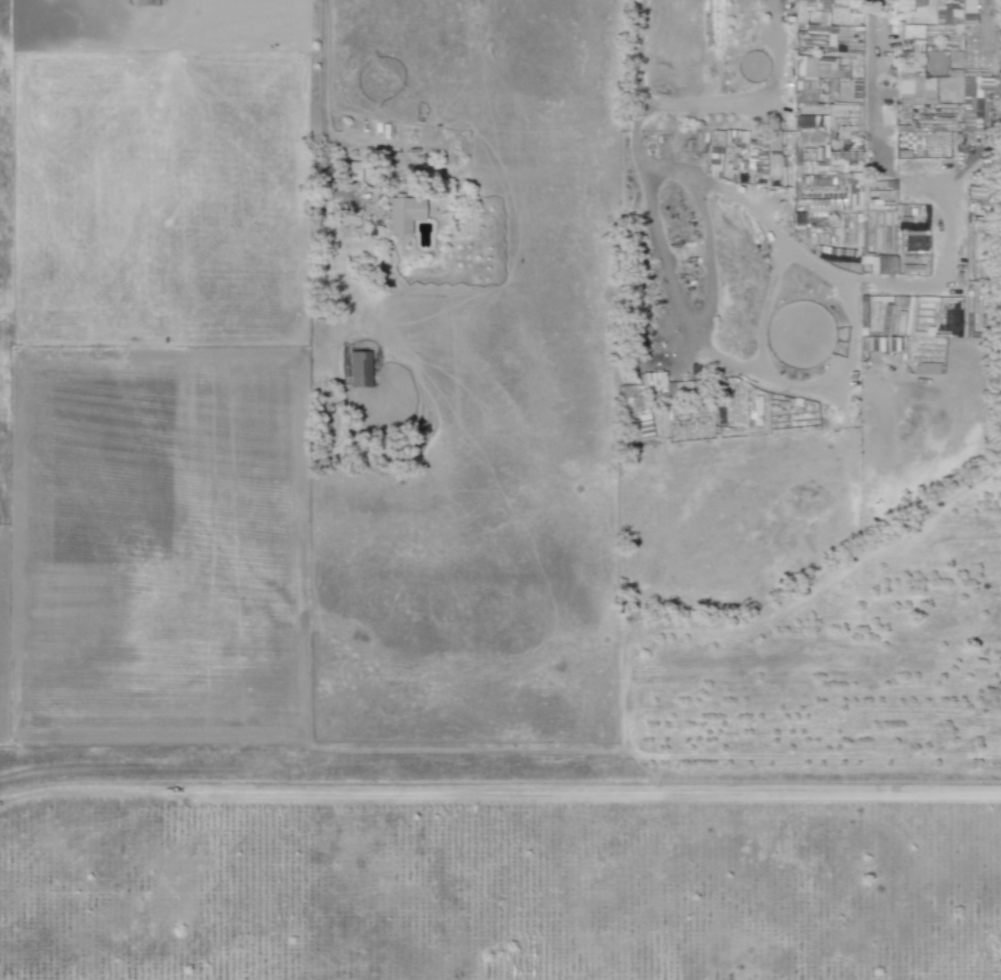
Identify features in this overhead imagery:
building: (859, 0)
building: (849, 1)
building: (144, 3)
building: (906, 5)
building: (801, 11)
building: (955, 16)
building: (821, 21)
building: (911, 31)
building: (816, 69)
building: (911, 85)
building: (802, 91)
road: (752, 102)
building: (969, 103)
road: (325, 122)
building: (772, 148)
building: (402, 215)
building: (916, 242)
road: (845, 276)
building: (870, 344)
road: (728, 362)
building: (358, 369)
road: (758, 624)

